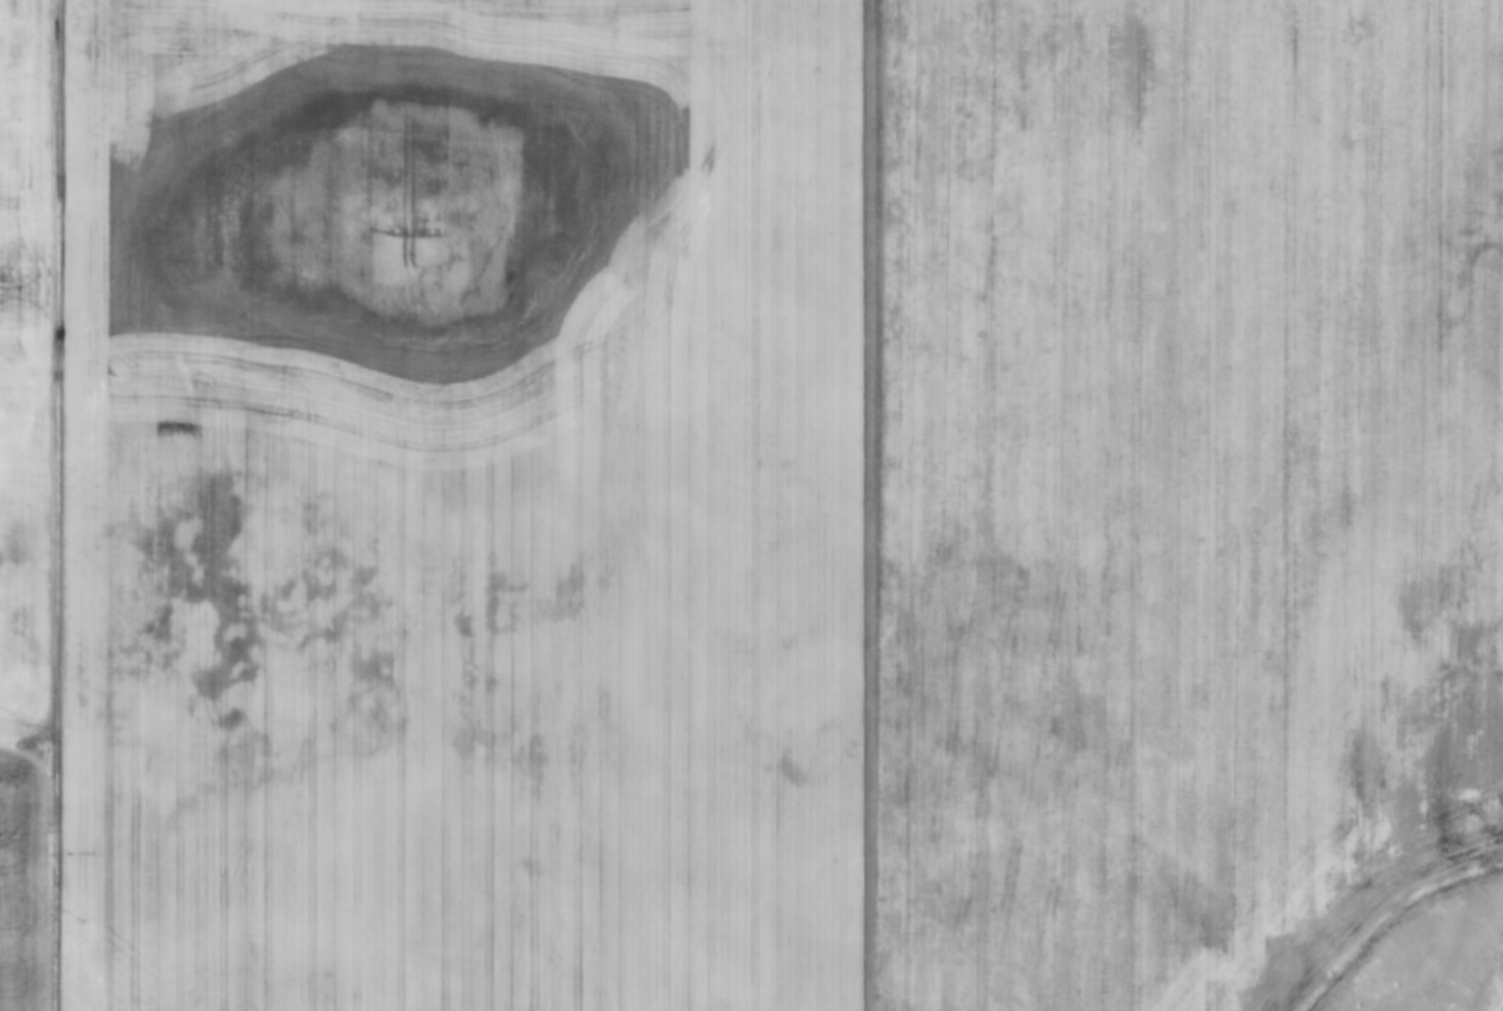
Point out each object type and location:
road: (59, 505)

